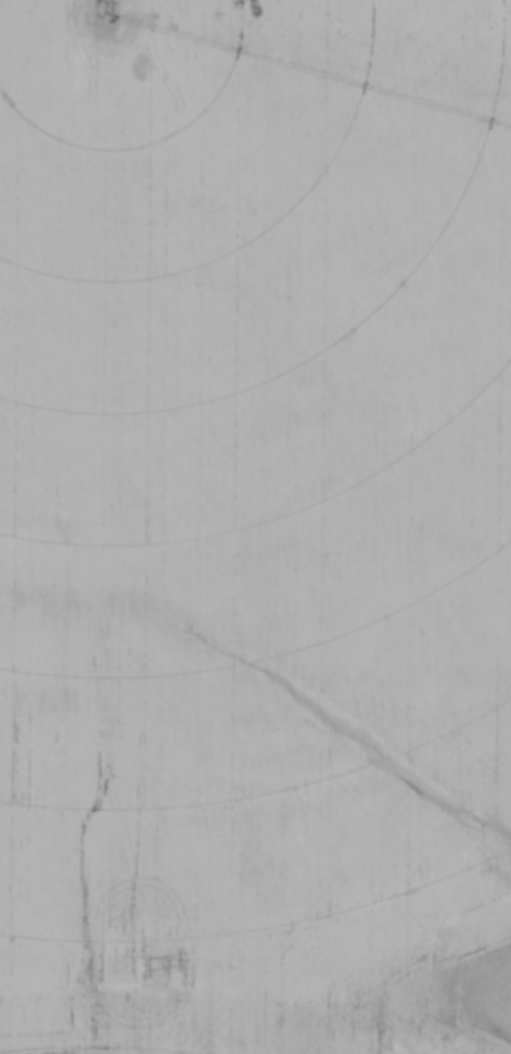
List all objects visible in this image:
power tower: (140, 967)

